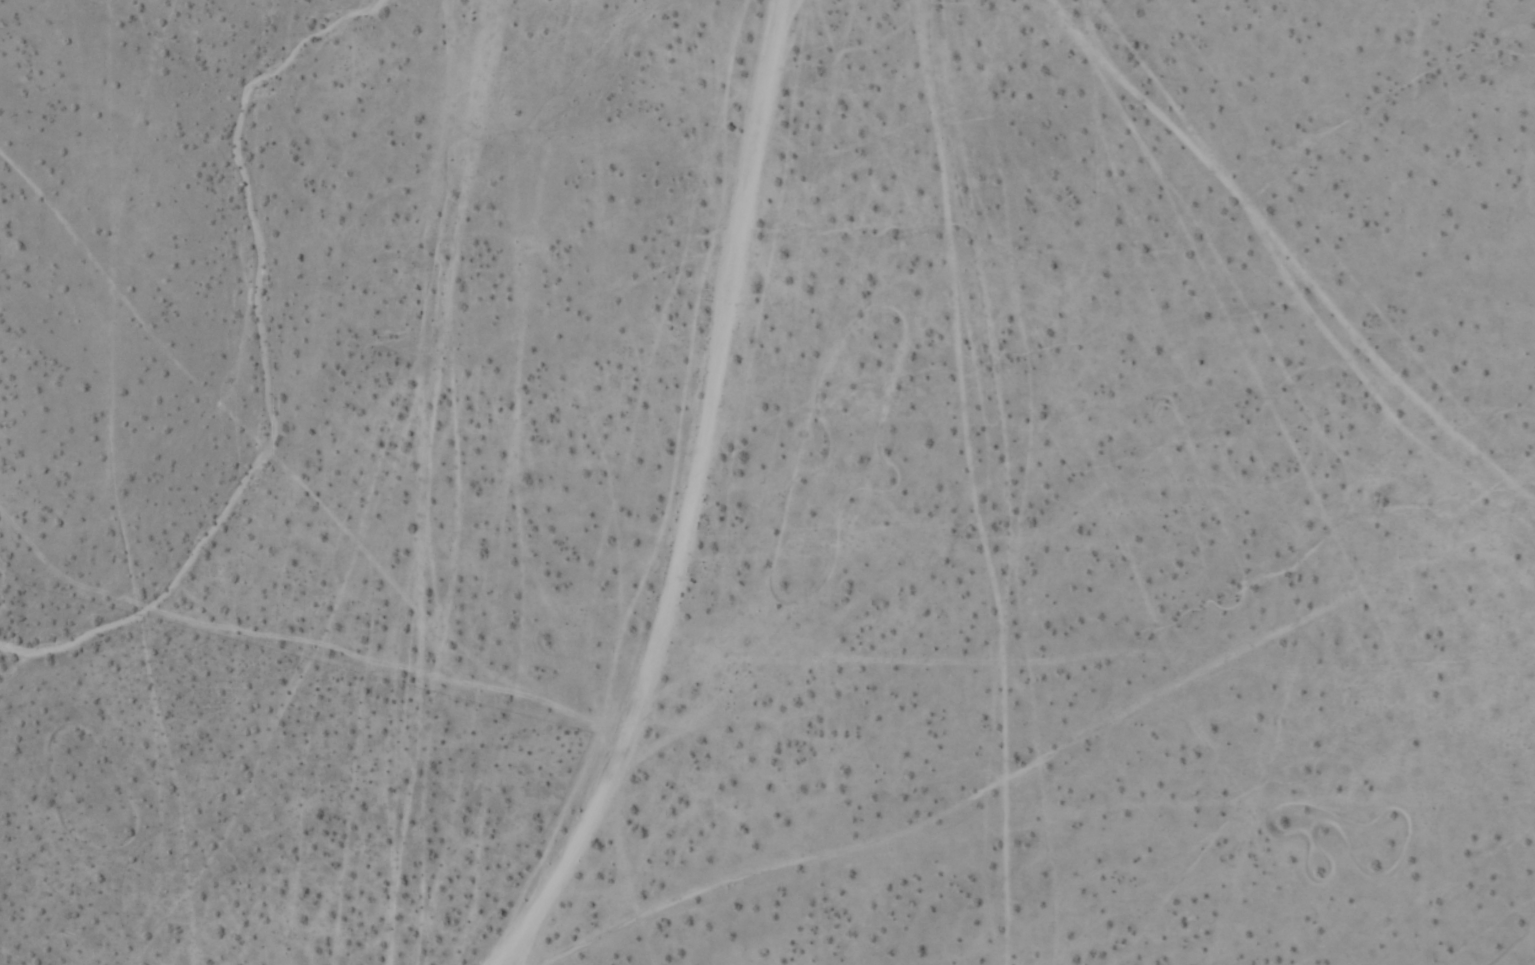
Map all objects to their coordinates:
crop: (767, 482)
road: (690, 499)
park: (142, 884)

